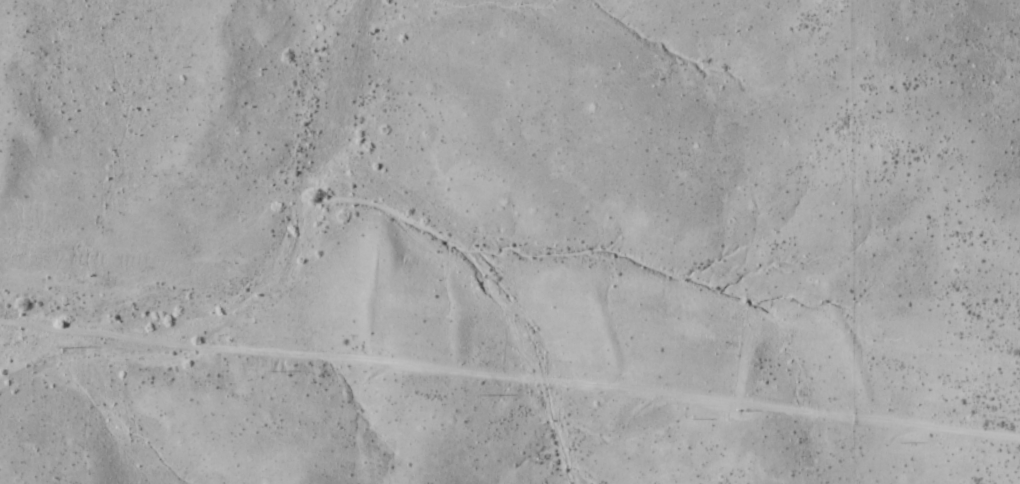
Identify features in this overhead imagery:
road: (509, 368)

